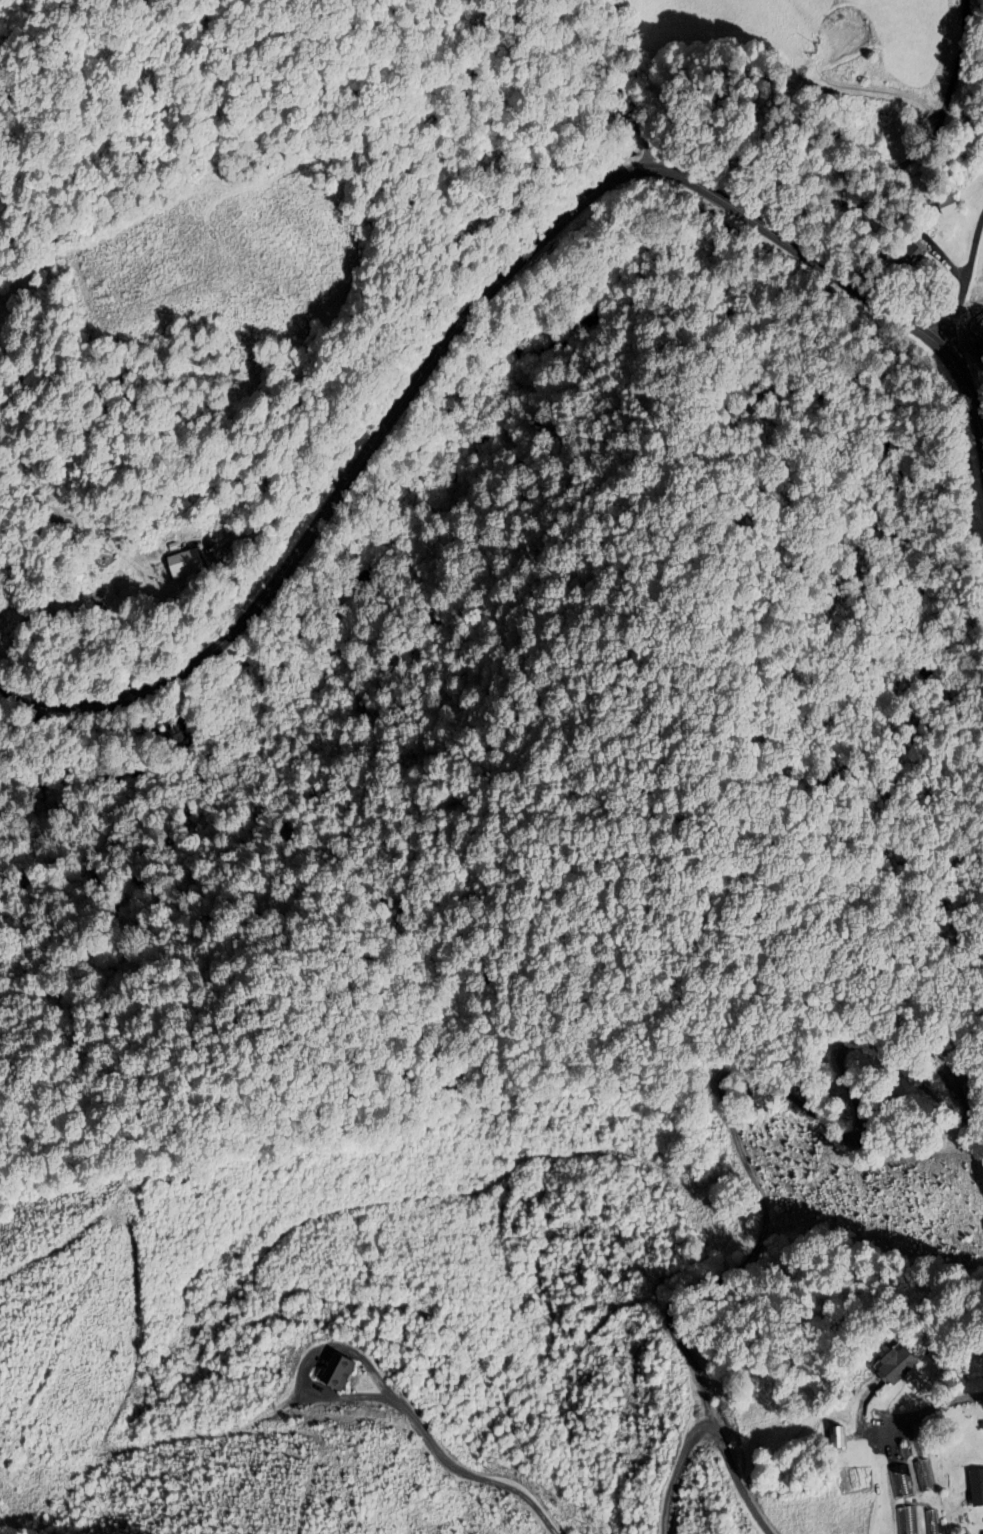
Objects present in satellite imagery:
road: (630, 85)
road: (963, 281)
road: (479, 299)
building: (184, 564)
building: (900, 1366)
building: (337, 1371)
road: (932, 1406)
building: (839, 1437)
road: (677, 1472)
road: (466, 1476)
building: (922, 1476)
building: (899, 1482)
road: (738, 1486)
building: (976, 1488)
building: (904, 1521)
building: (929, 1522)

